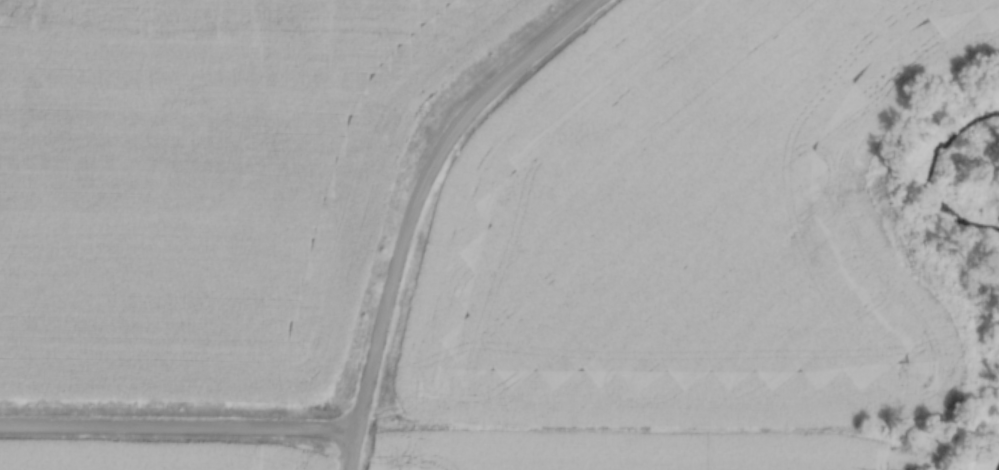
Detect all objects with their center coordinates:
road: (413, 201)
road: (177, 428)

